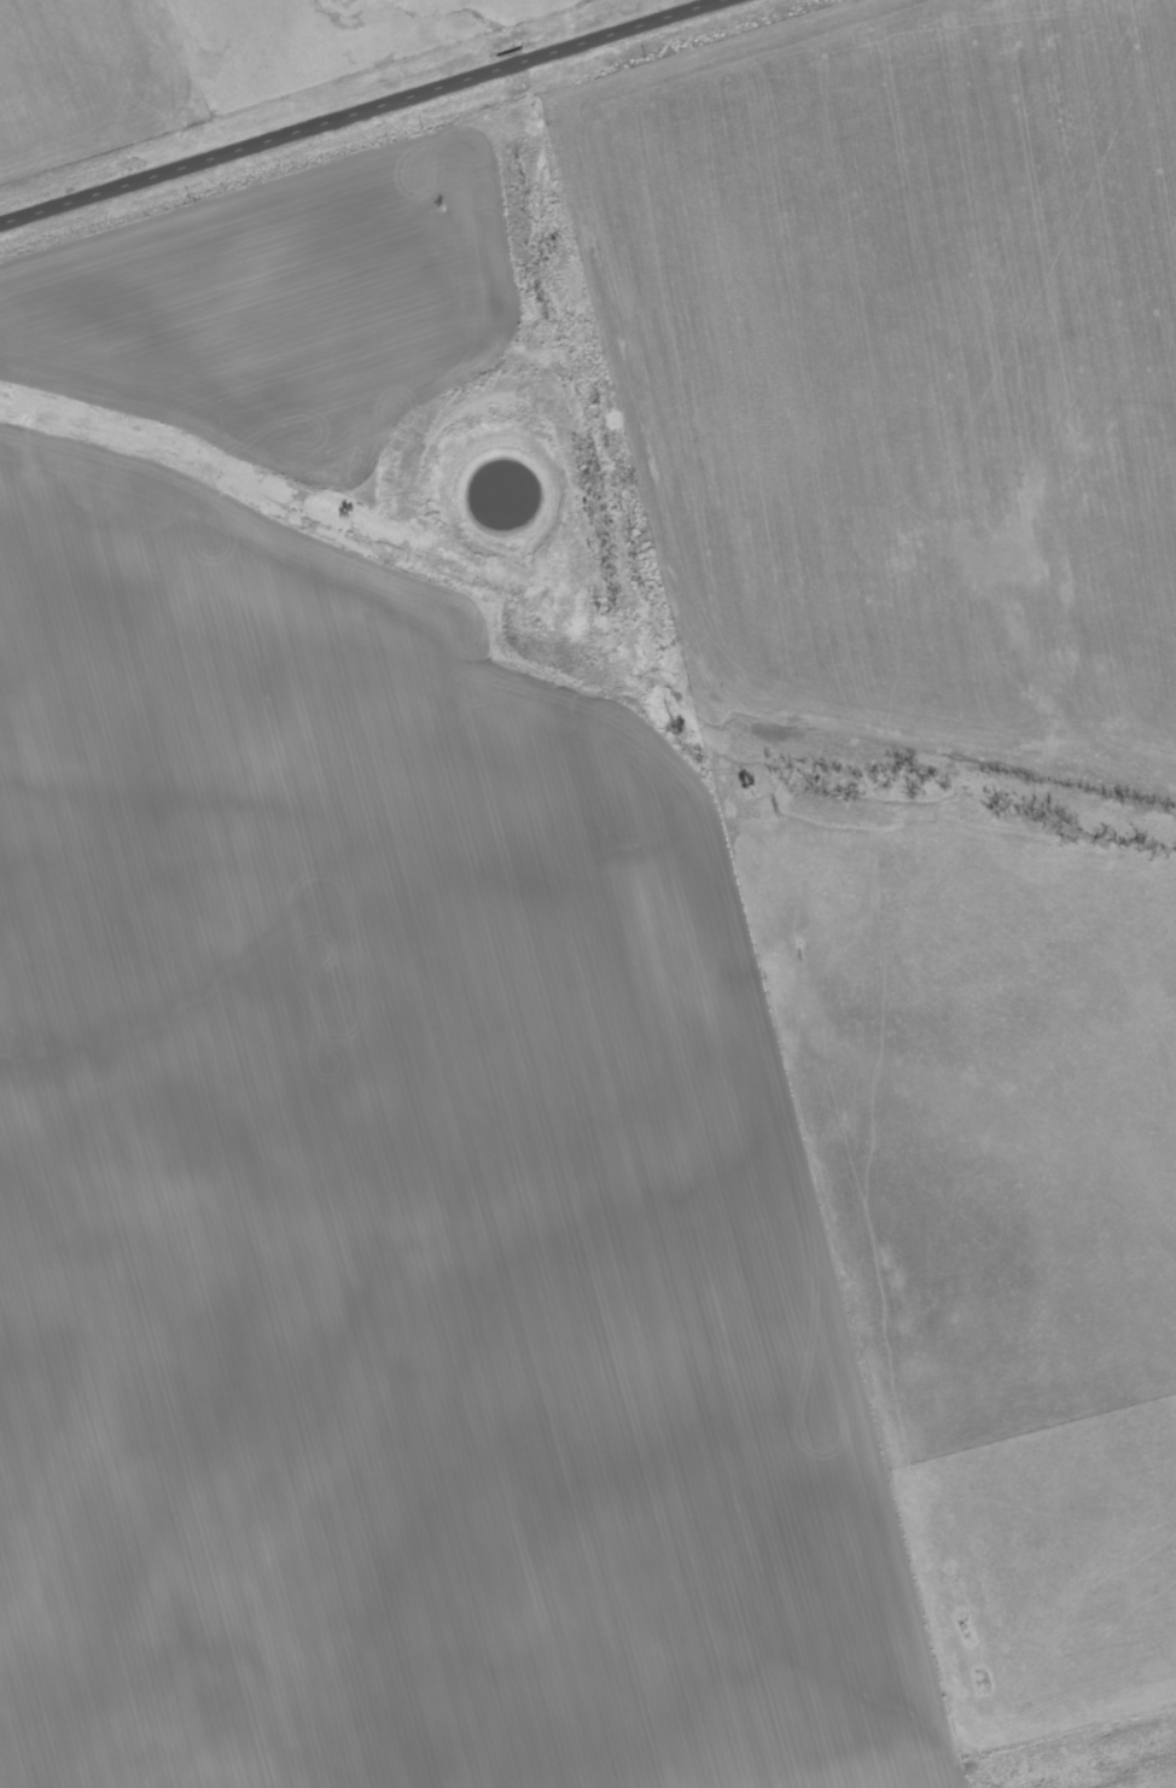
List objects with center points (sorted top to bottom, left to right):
road: (353, 107)

